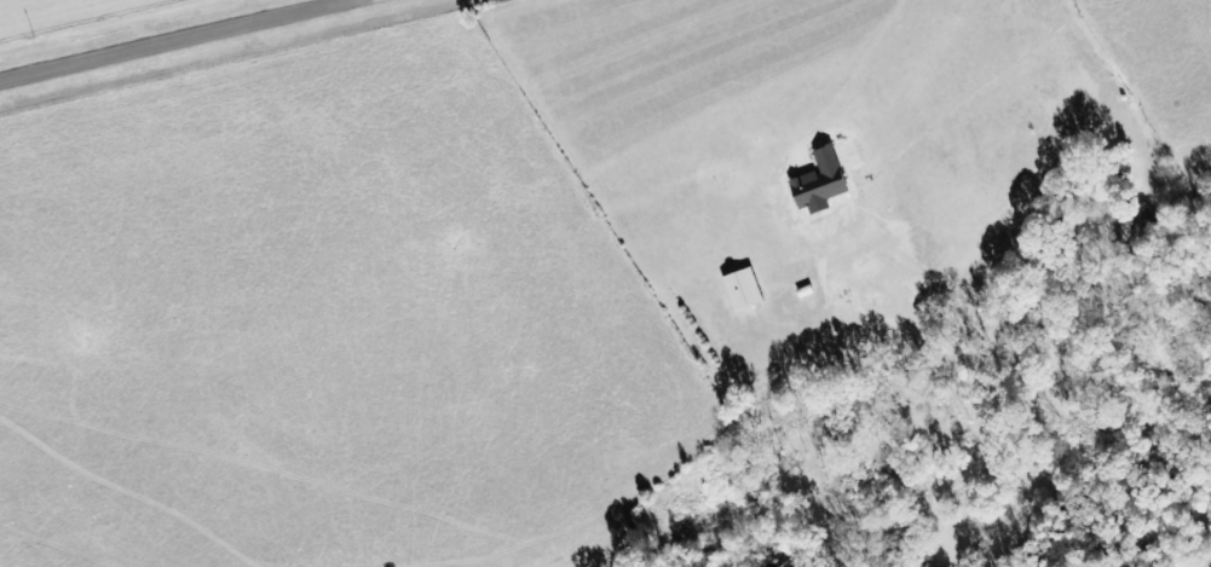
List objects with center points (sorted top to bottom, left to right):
road: (178, 41)
building: (823, 183)

